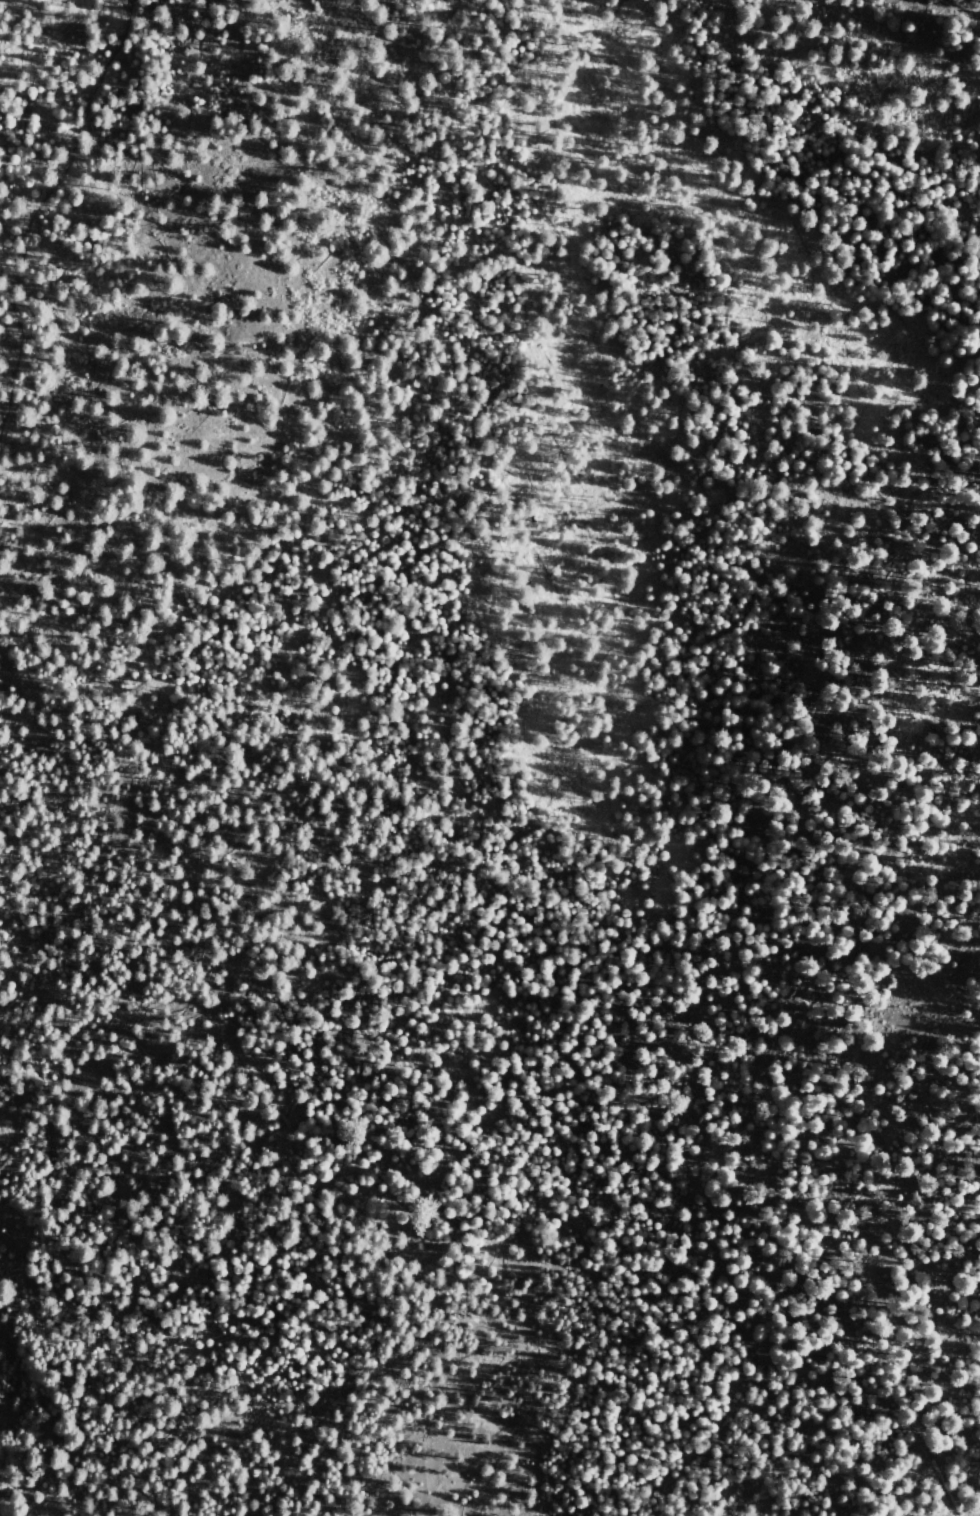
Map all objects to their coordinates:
road: (37, 213)

